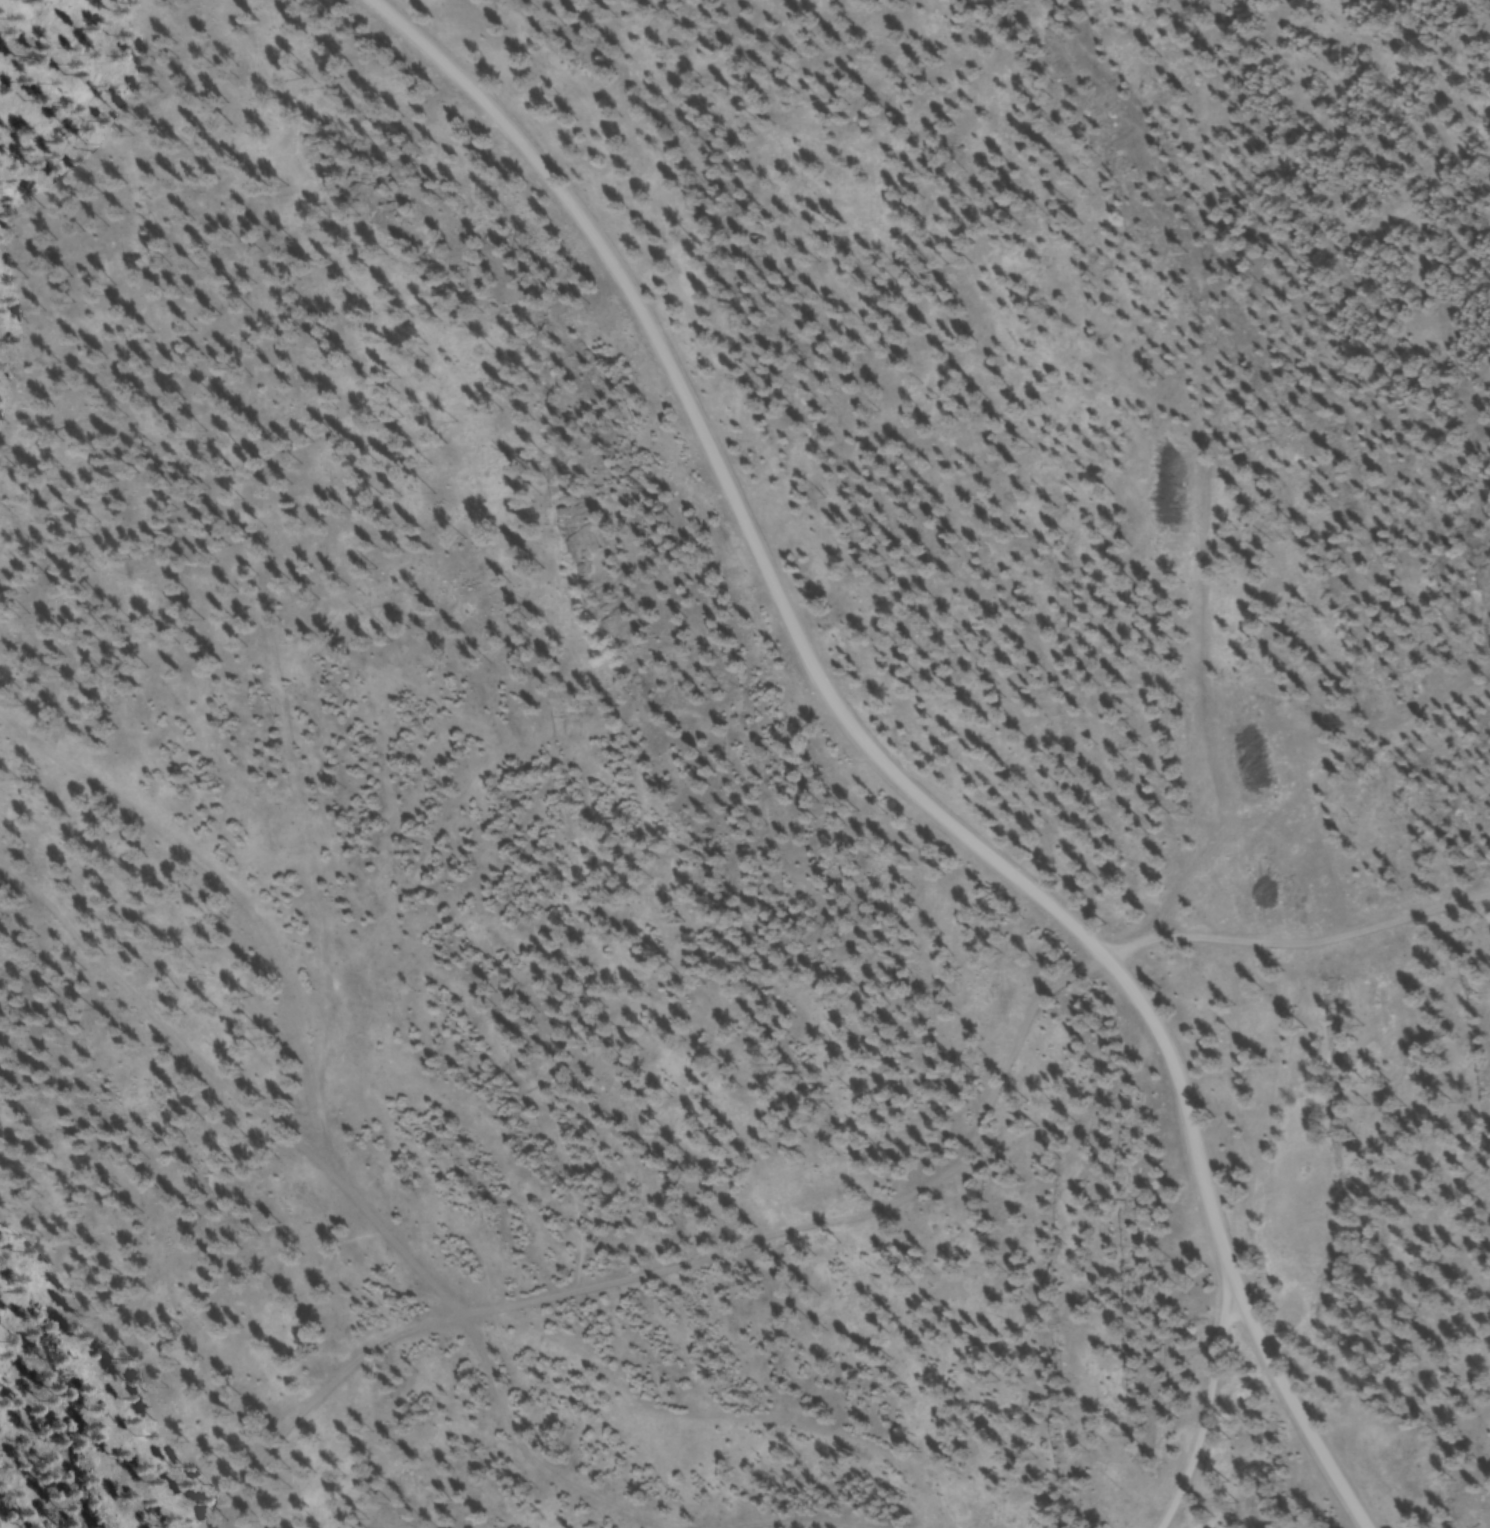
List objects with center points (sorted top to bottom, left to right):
road: (795, 643)
road: (1297, 937)
road: (531, 1295)
road: (319, 1388)
road: (1283, 1400)
road: (1204, 1401)

